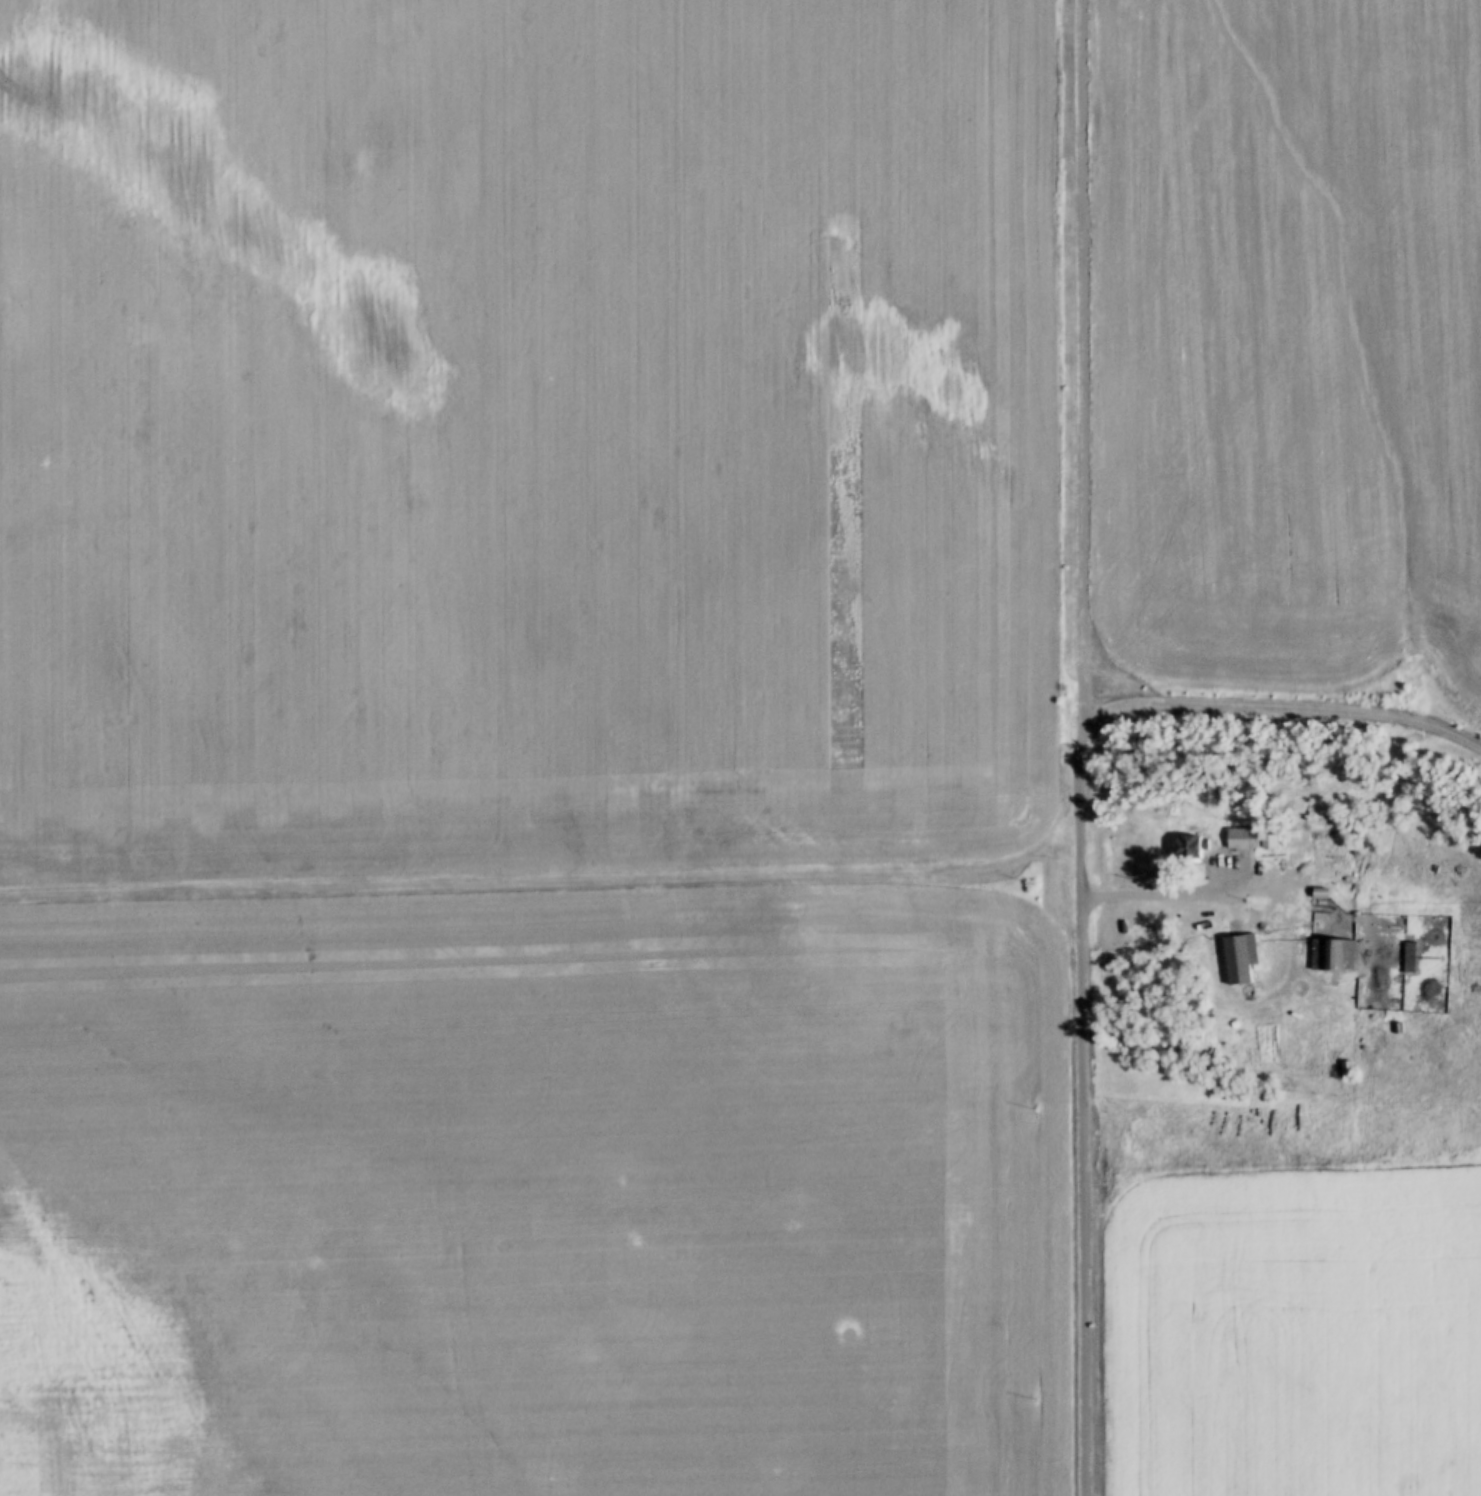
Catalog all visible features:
road: (1085, 358)
road: (1291, 710)
road: (1080, 805)
building: (1197, 834)
building: (1239, 841)
road: (540, 872)
road: (1165, 898)
building: (1334, 957)
building: (1463, 957)
building: (1236, 960)
road: (1084, 1197)

